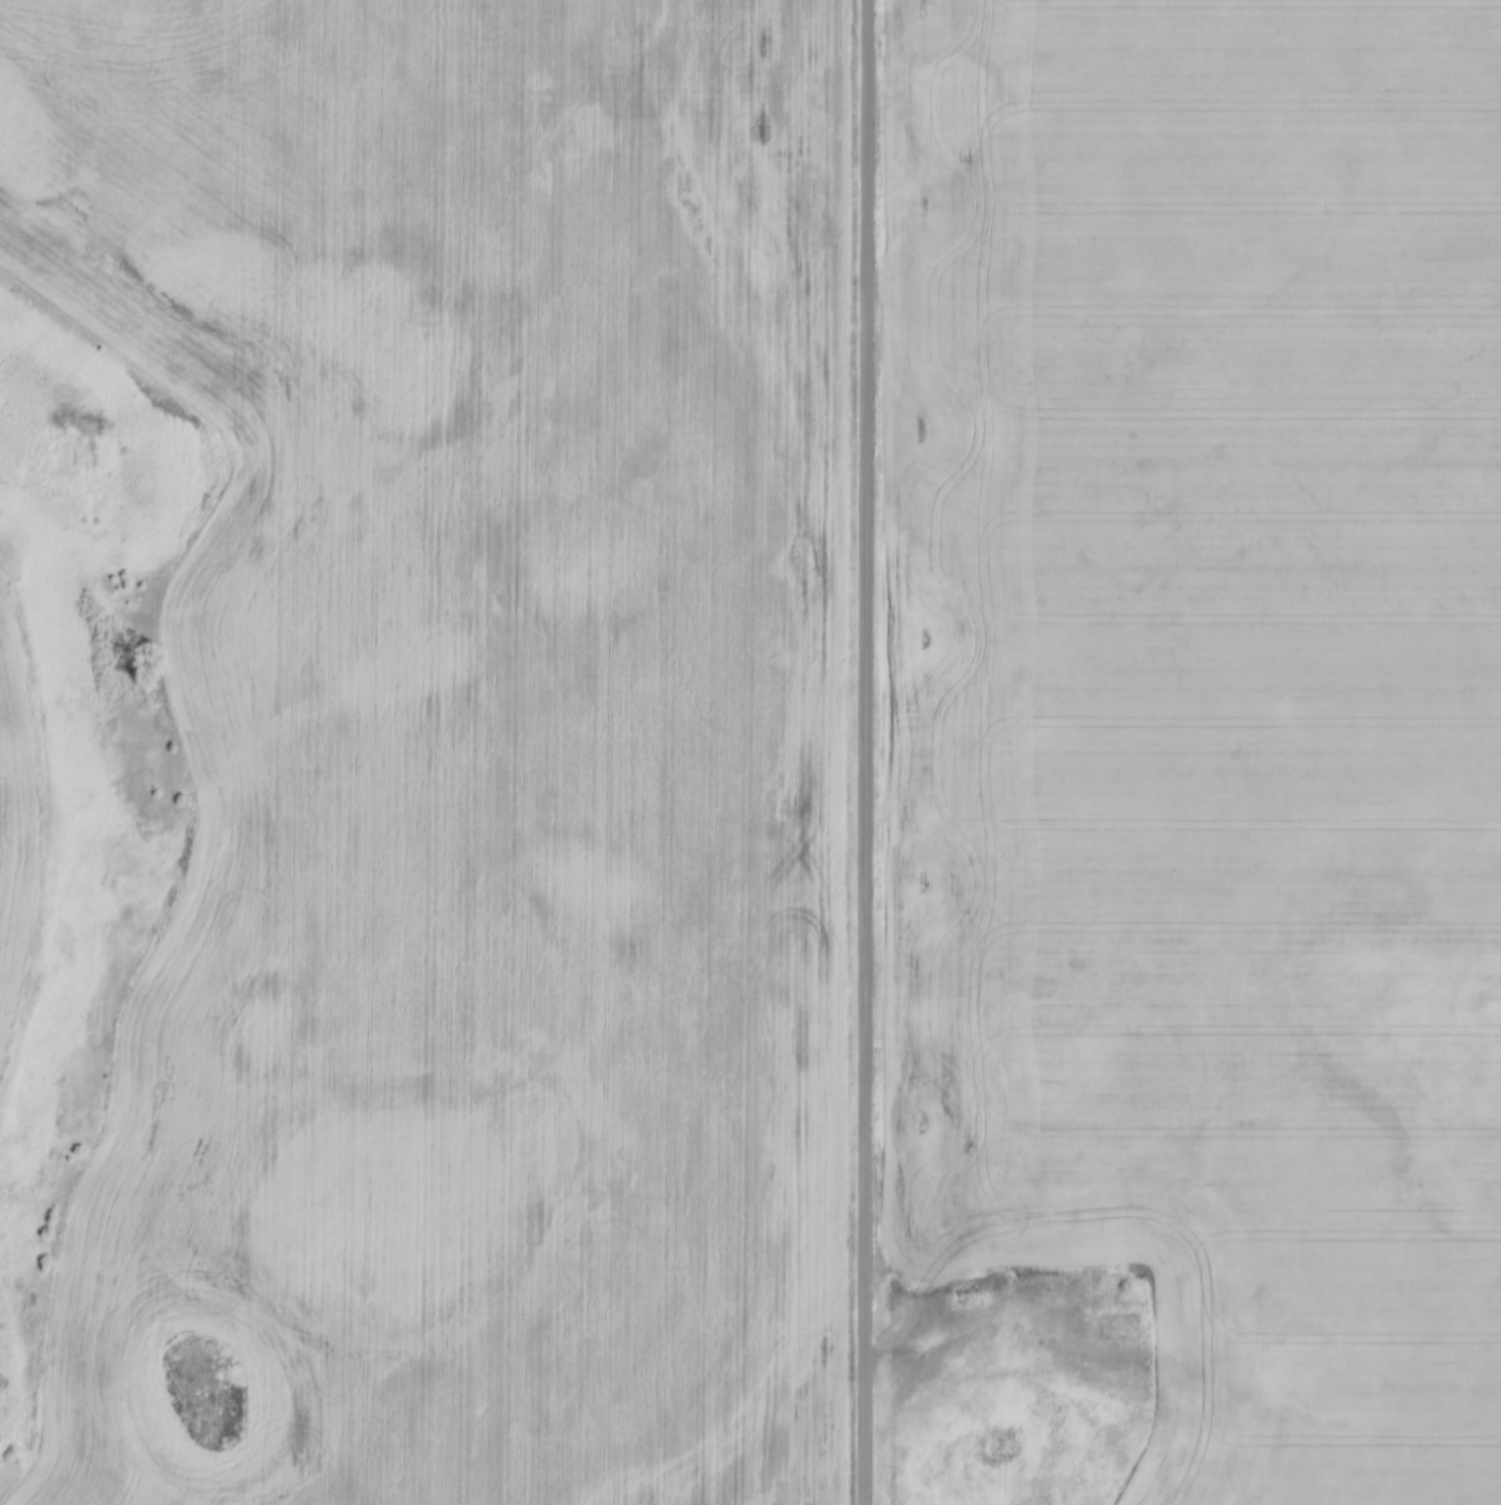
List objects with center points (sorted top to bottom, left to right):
road: (863, 752)
road: (969, 1309)

